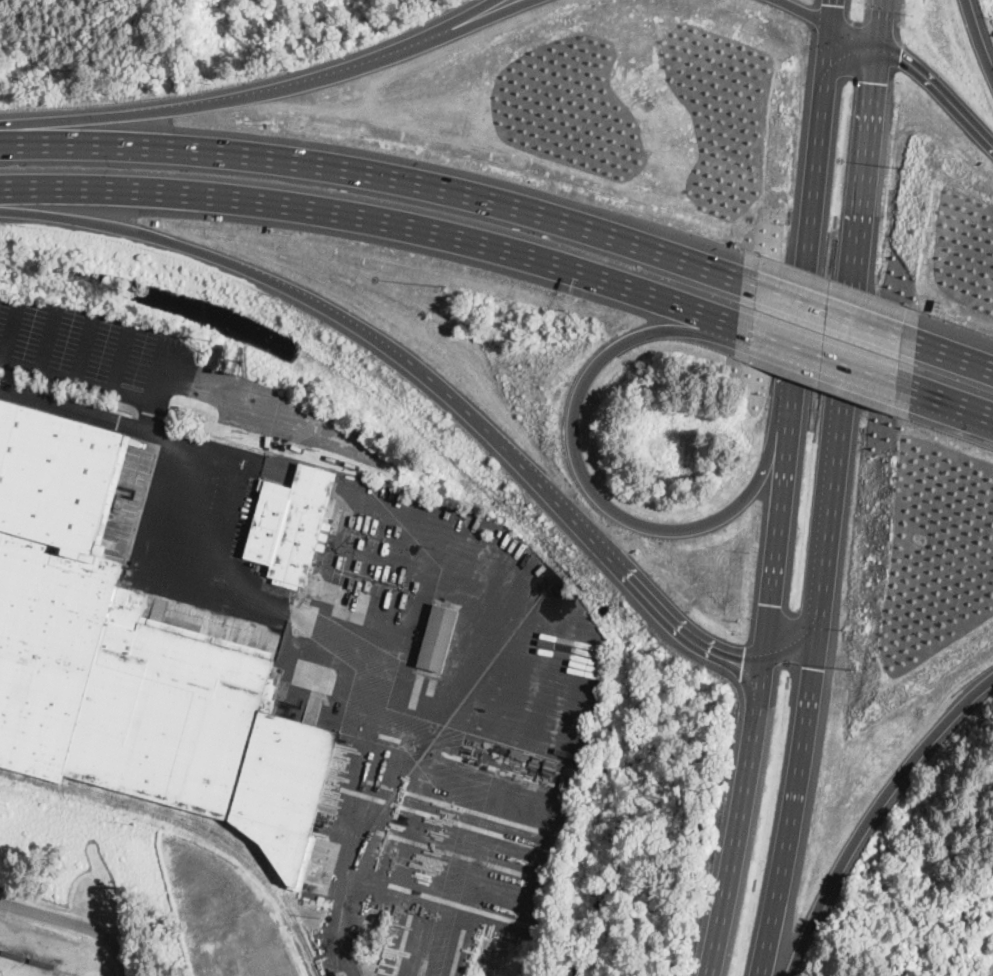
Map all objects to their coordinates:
traffic signals: (834, 3)
road: (806, 12)
road: (468, 16)
road: (980, 37)
traffic signals: (900, 57)
road: (922, 75)
traffic signals: (877, 82)
road: (270, 88)
road: (144, 146)
road: (187, 186)
road: (522, 206)
road: (564, 263)
road: (826, 311)
road: (10, 330)
road: (50, 337)
road: (84, 347)
road: (949, 354)
road: (123, 357)
road: (831, 357)
road: (168, 376)
road: (79, 383)
road: (446, 385)
road: (952, 400)
road: (587, 475)
road: (205, 480)
road: (784, 489)
road: (835, 489)
building: (291, 525)
traffic signals: (771, 604)
building: (438, 639)
building: (132, 661)
traffic signals: (744, 662)
traffic signals: (815, 667)
railway: (414, 765)
road: (872, 814)
railway: (211, 821)
railway: (193, 825)
road: (74, 925)
road: (58, 948)

